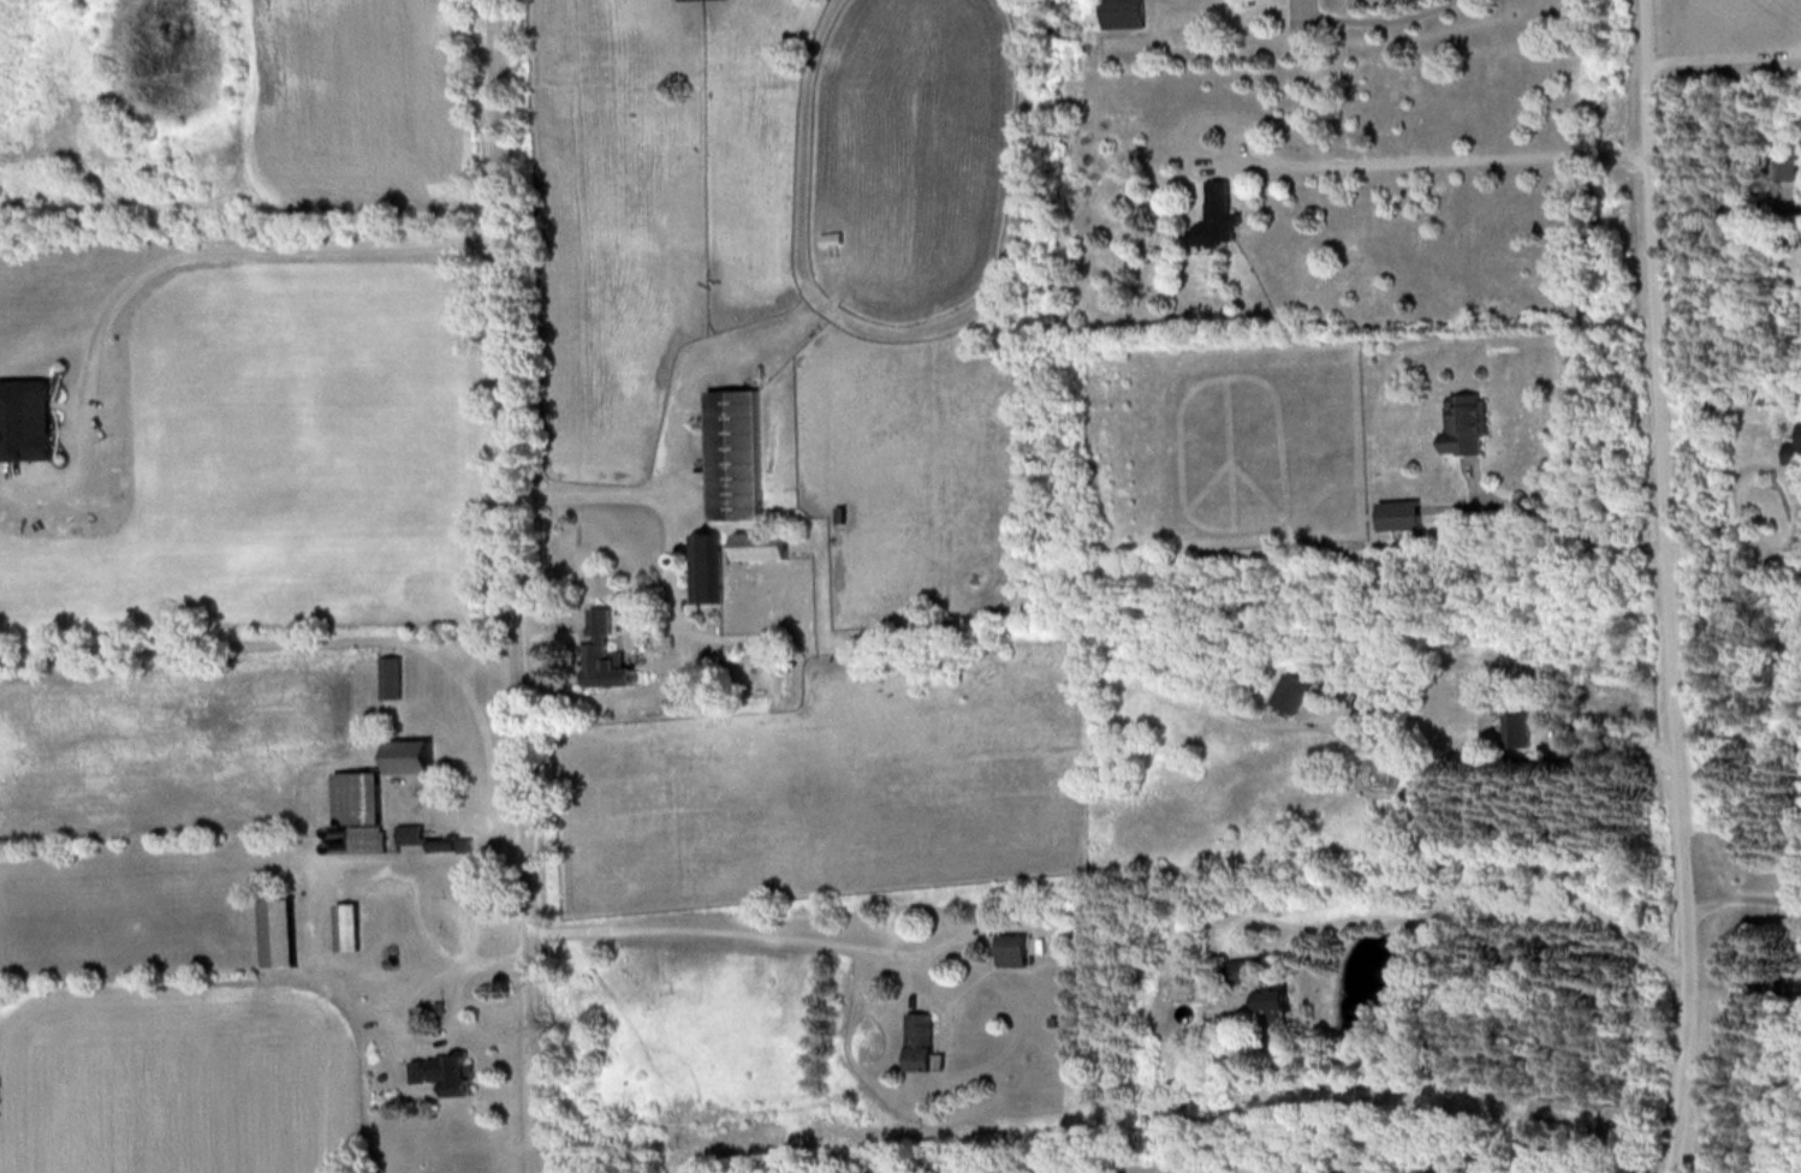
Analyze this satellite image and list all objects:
building: (1127, 12)
road: (1372, 12)
road: (1726, 48)
road: (1440, 163)
building: (1790, 165)
building: (1223, 215)
road: (246, 249)
building: (31, 418)
building: (1472, 423)
building: (1794, 451)
building: (742, 453)
road: (642, 492)
building: (1401, 512)
road: (1571, 523)
building: (771, 544)
building: (709, 566)
road: (1752, 570)
road: (511, 586)
road: (1676, 586)
building: (605, 653)
building: (393, 674)
building: (1518, 722)
road: (1612, 738)
building: (410, 752)
building: (359, 806)
building: (409, 832)
building: (447, 842)
road: (1484, 886)
road: (1744, 892)
building: (346, 924)
building: (278, 929)
road: (733, 929)
building: (1014, 948)
building: (1266, 987)
building: (921, 1038)
building: (445, 1070)
building: (1350, 1167)
road: (1486, 1168)

